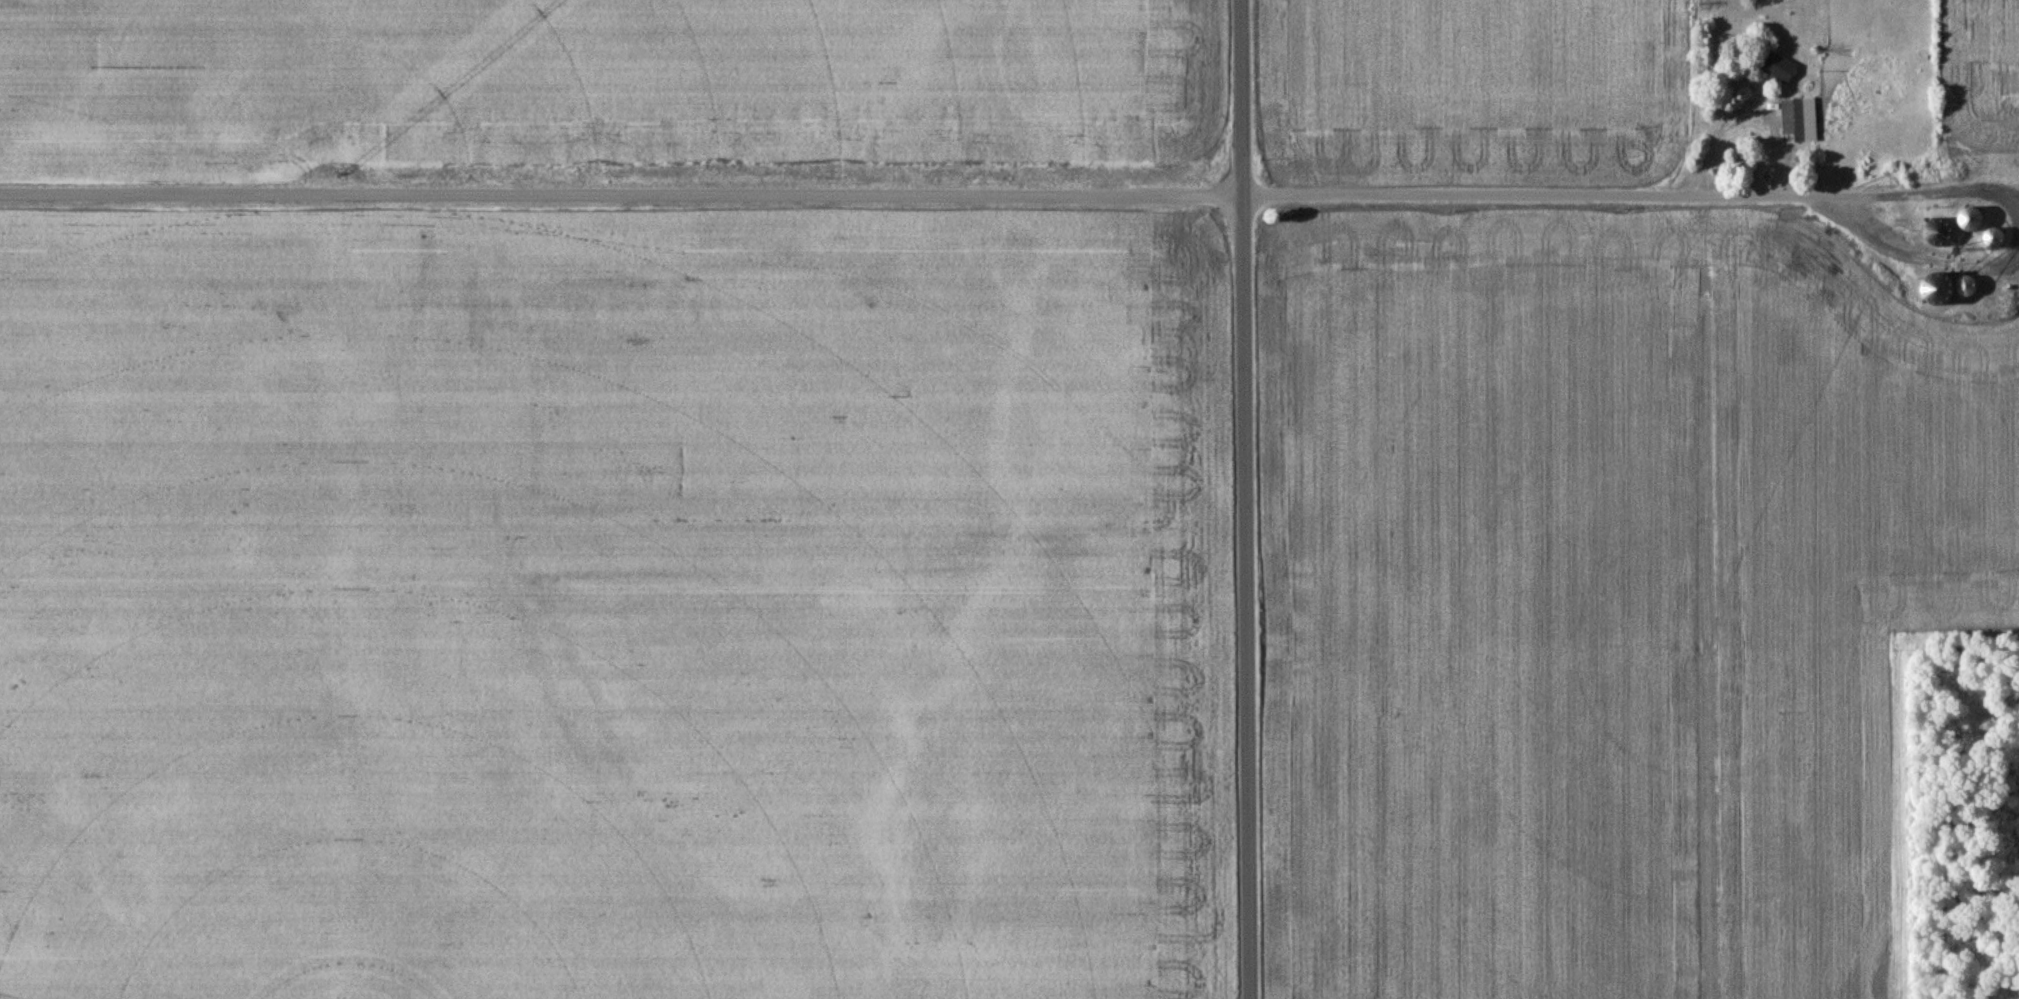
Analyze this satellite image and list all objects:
building: (1777, 67)
building: (1800, 120)
road: (1012, 196)
building: (1968, 239)
road: (1248, 499)

